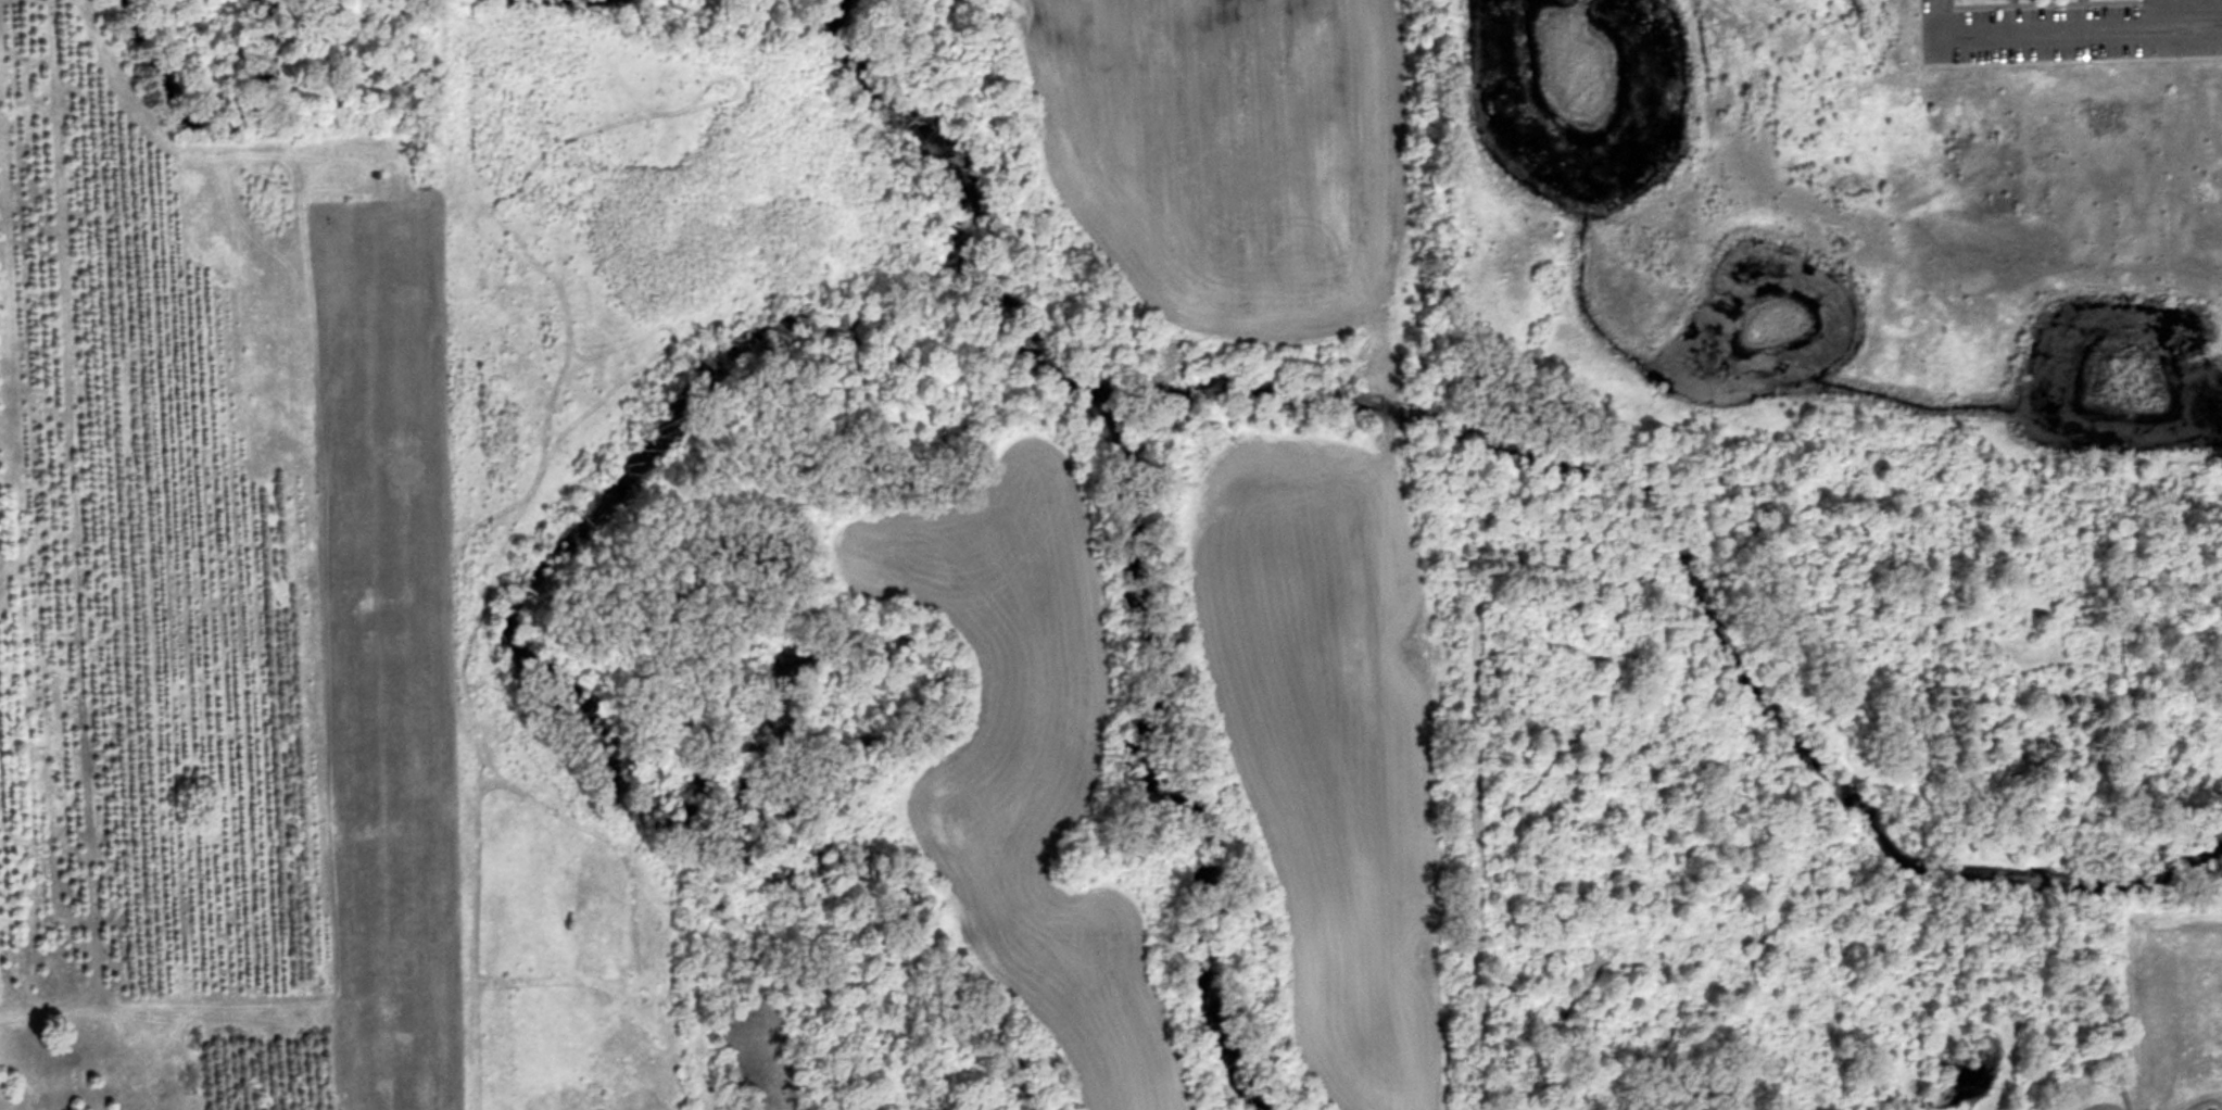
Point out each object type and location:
road: (2081, 34)
river: (1692, 581)

